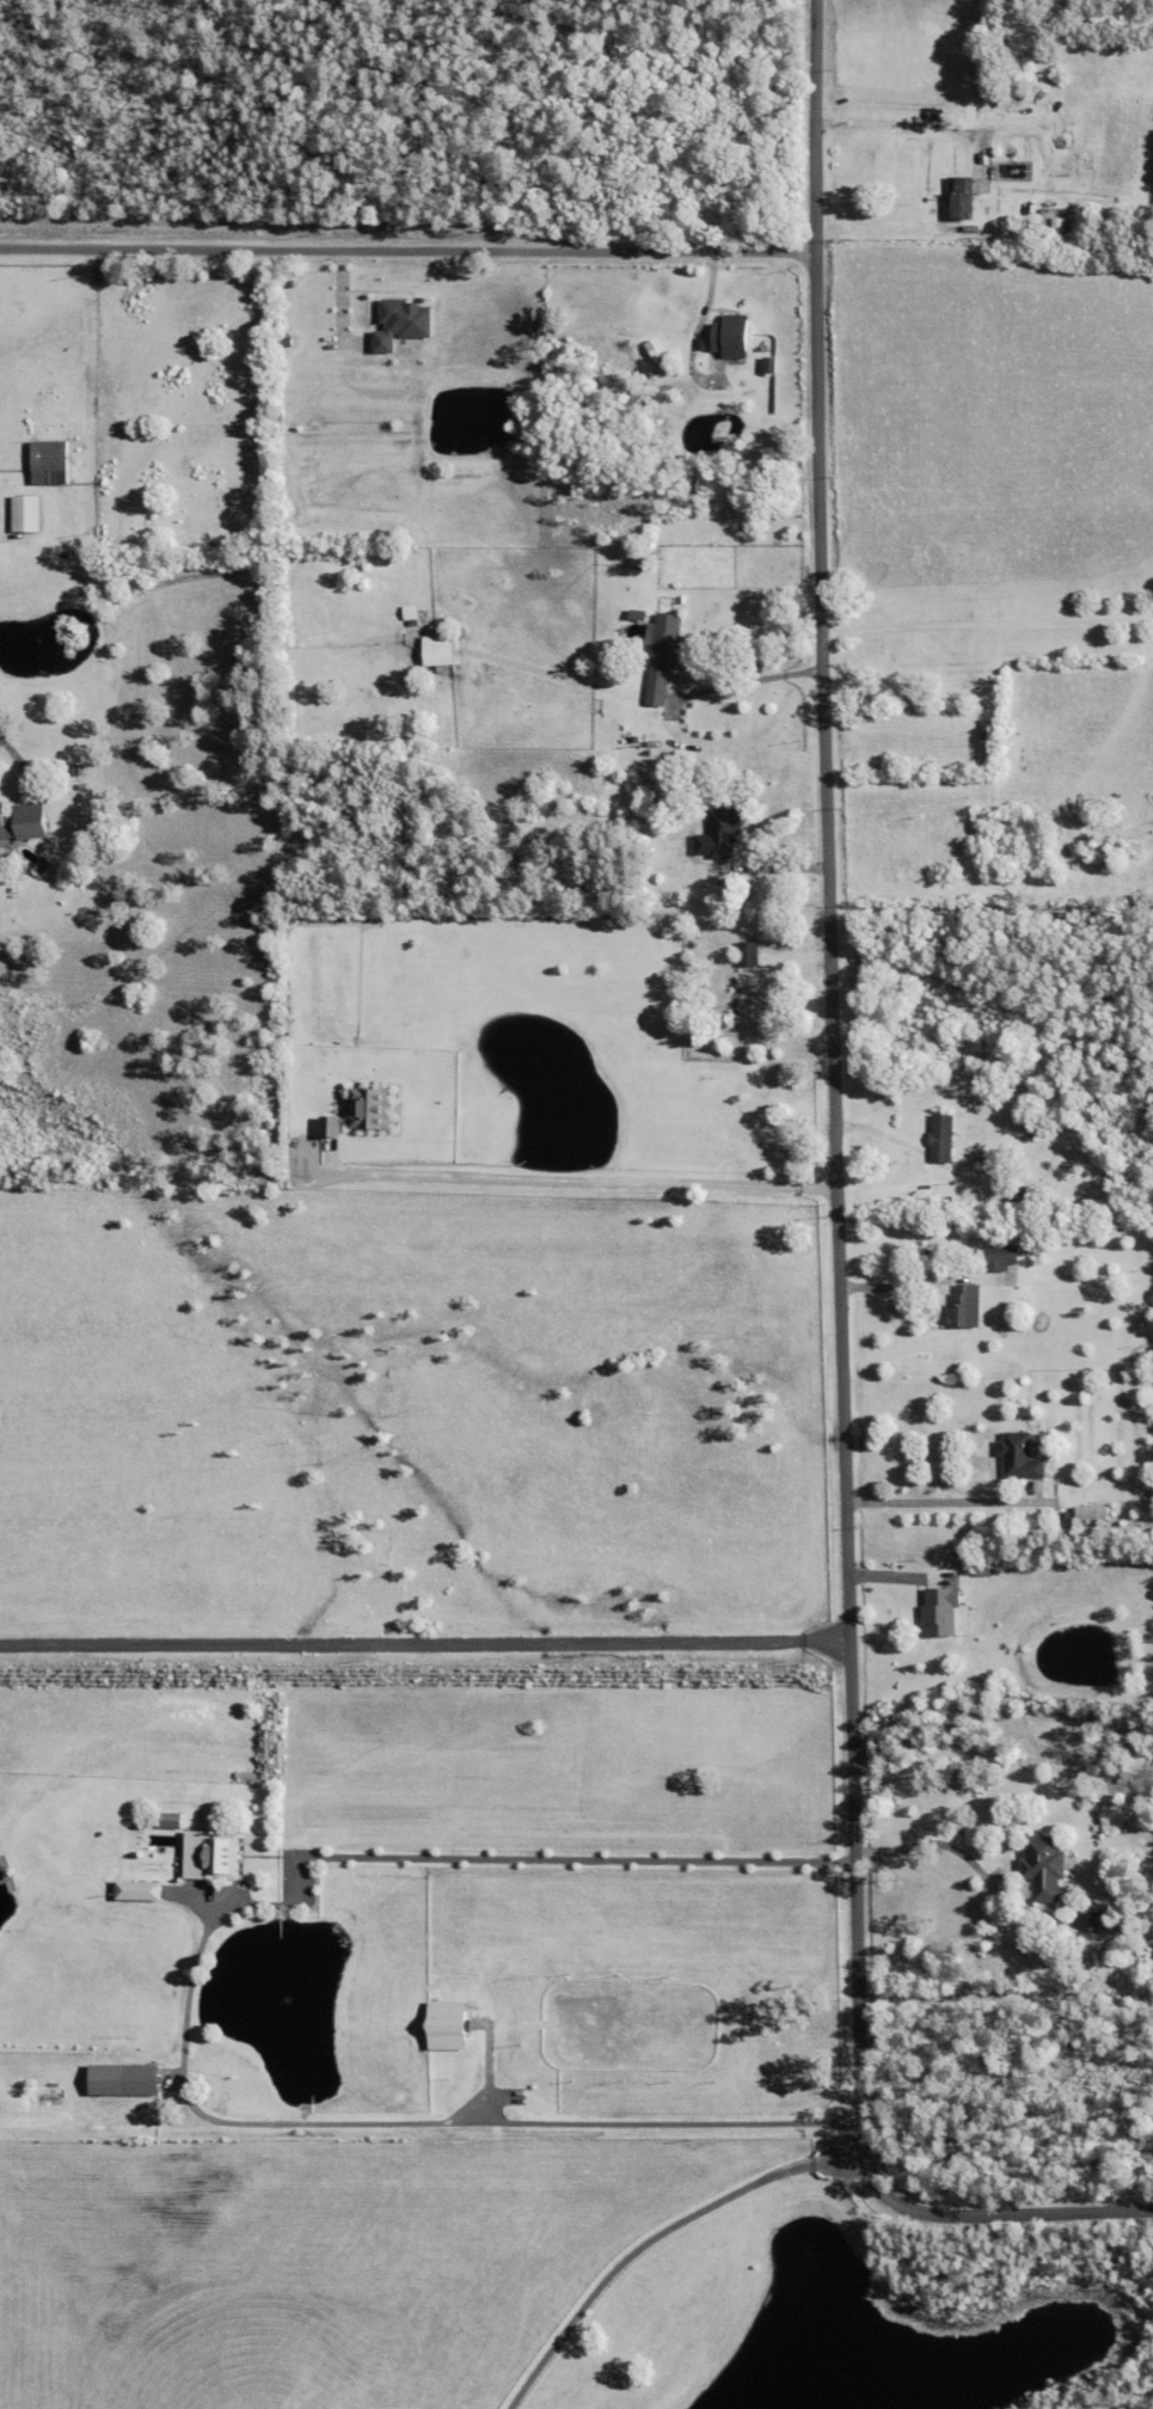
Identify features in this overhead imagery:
road: (893, 131)
building: (963, 198)
building: (1056, 206)
road: (407, 250)
building: (700, 289)
building: (403, 324)
building: (731, 337)
building: (655, 353)
building: (679, 361)
building: (769, 367)
building: (657, 372)
building: (50, 465)
building: (25, 515)
building: (648, 565)
building: (637, 615)
road: (988, 631)
building: (437, 651)
building: (662, 657)
road: (673, 706)
building: (78, 772)
building: (82, 789)
building: (1005, 821)
building: (24, 823)
building: (720, 835)
building: (44, 866)
building: (995, 870)
building: (296, 921)
building: (749, 956)
building: (735, 1006)
building: (362, 1116)
building: (942, 1141)
building: (983, 1164)
road: (559, 1184)
building: (1029, 1196)
road: (827, 1236)
building: (999, 1259)
road: (901, 1289)
building: (965, 1310)
building: (1020, 1454)
road: (927, 1504)
building: (1092, 1513)
building: (1066, 1514)
building: (985, 1568)
building: (940, 1610)
building: (177, 1816)
road: (949, 1847)
building: (215, 1856)
road: (400, 1858)
building: (1044, 1864)
building: (139, 1889)
building: (1103, 1918)
building: (447, 2024)
building: (449, 2066)
building: (142, 2079)
building: (533, 2097)
road: (535, 2122)
road: (660, 2241)

